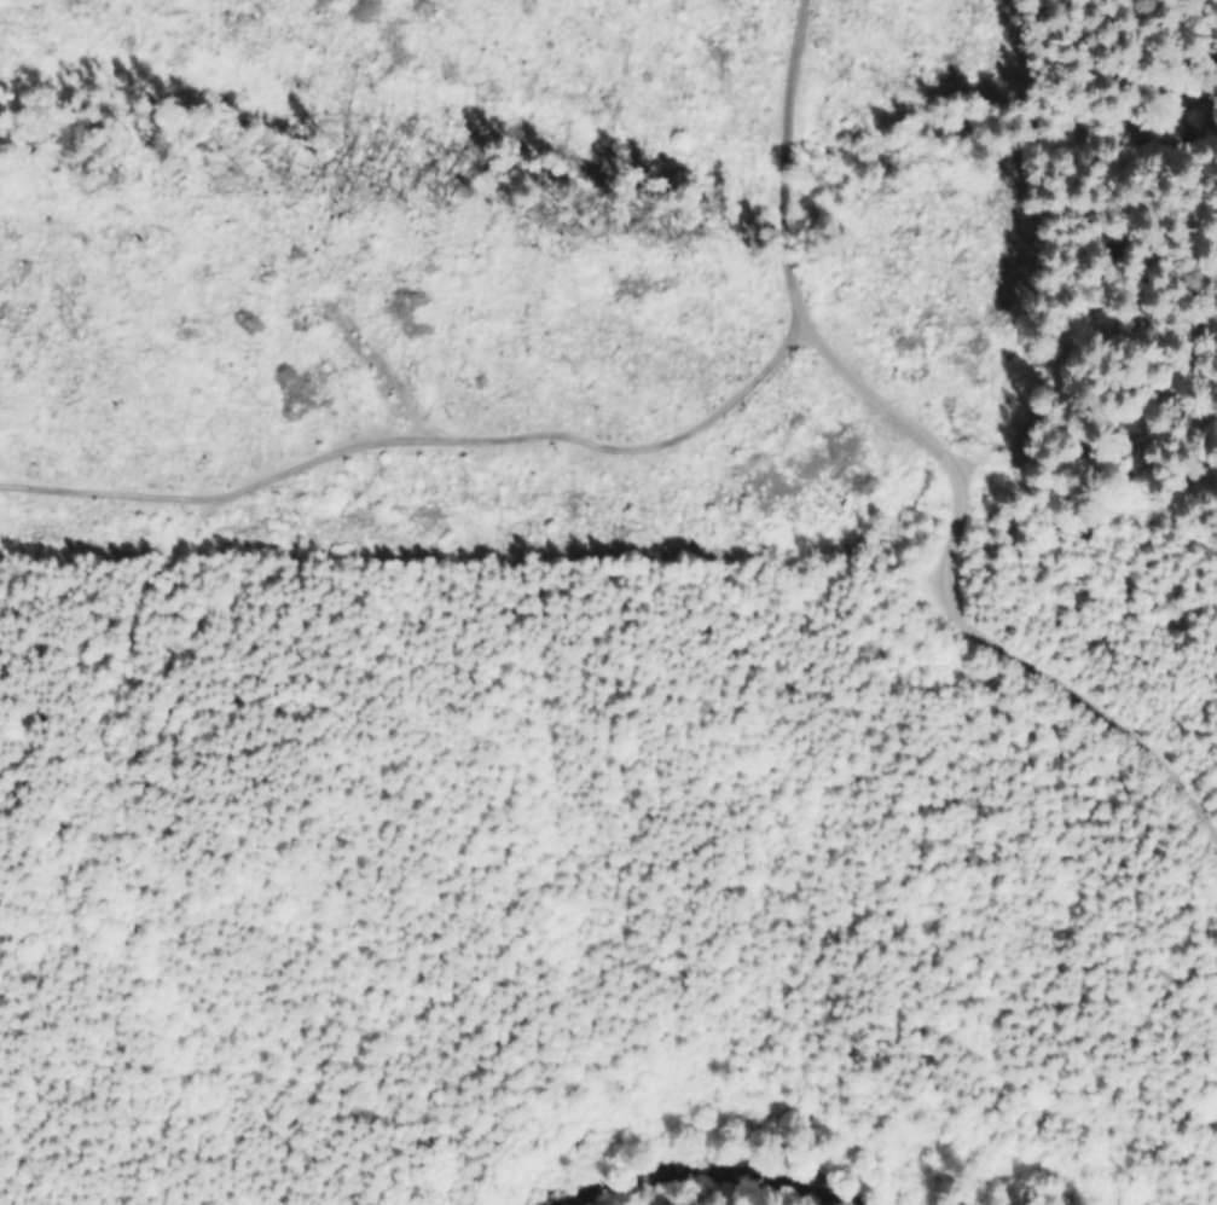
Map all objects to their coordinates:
road: (941, 451)

